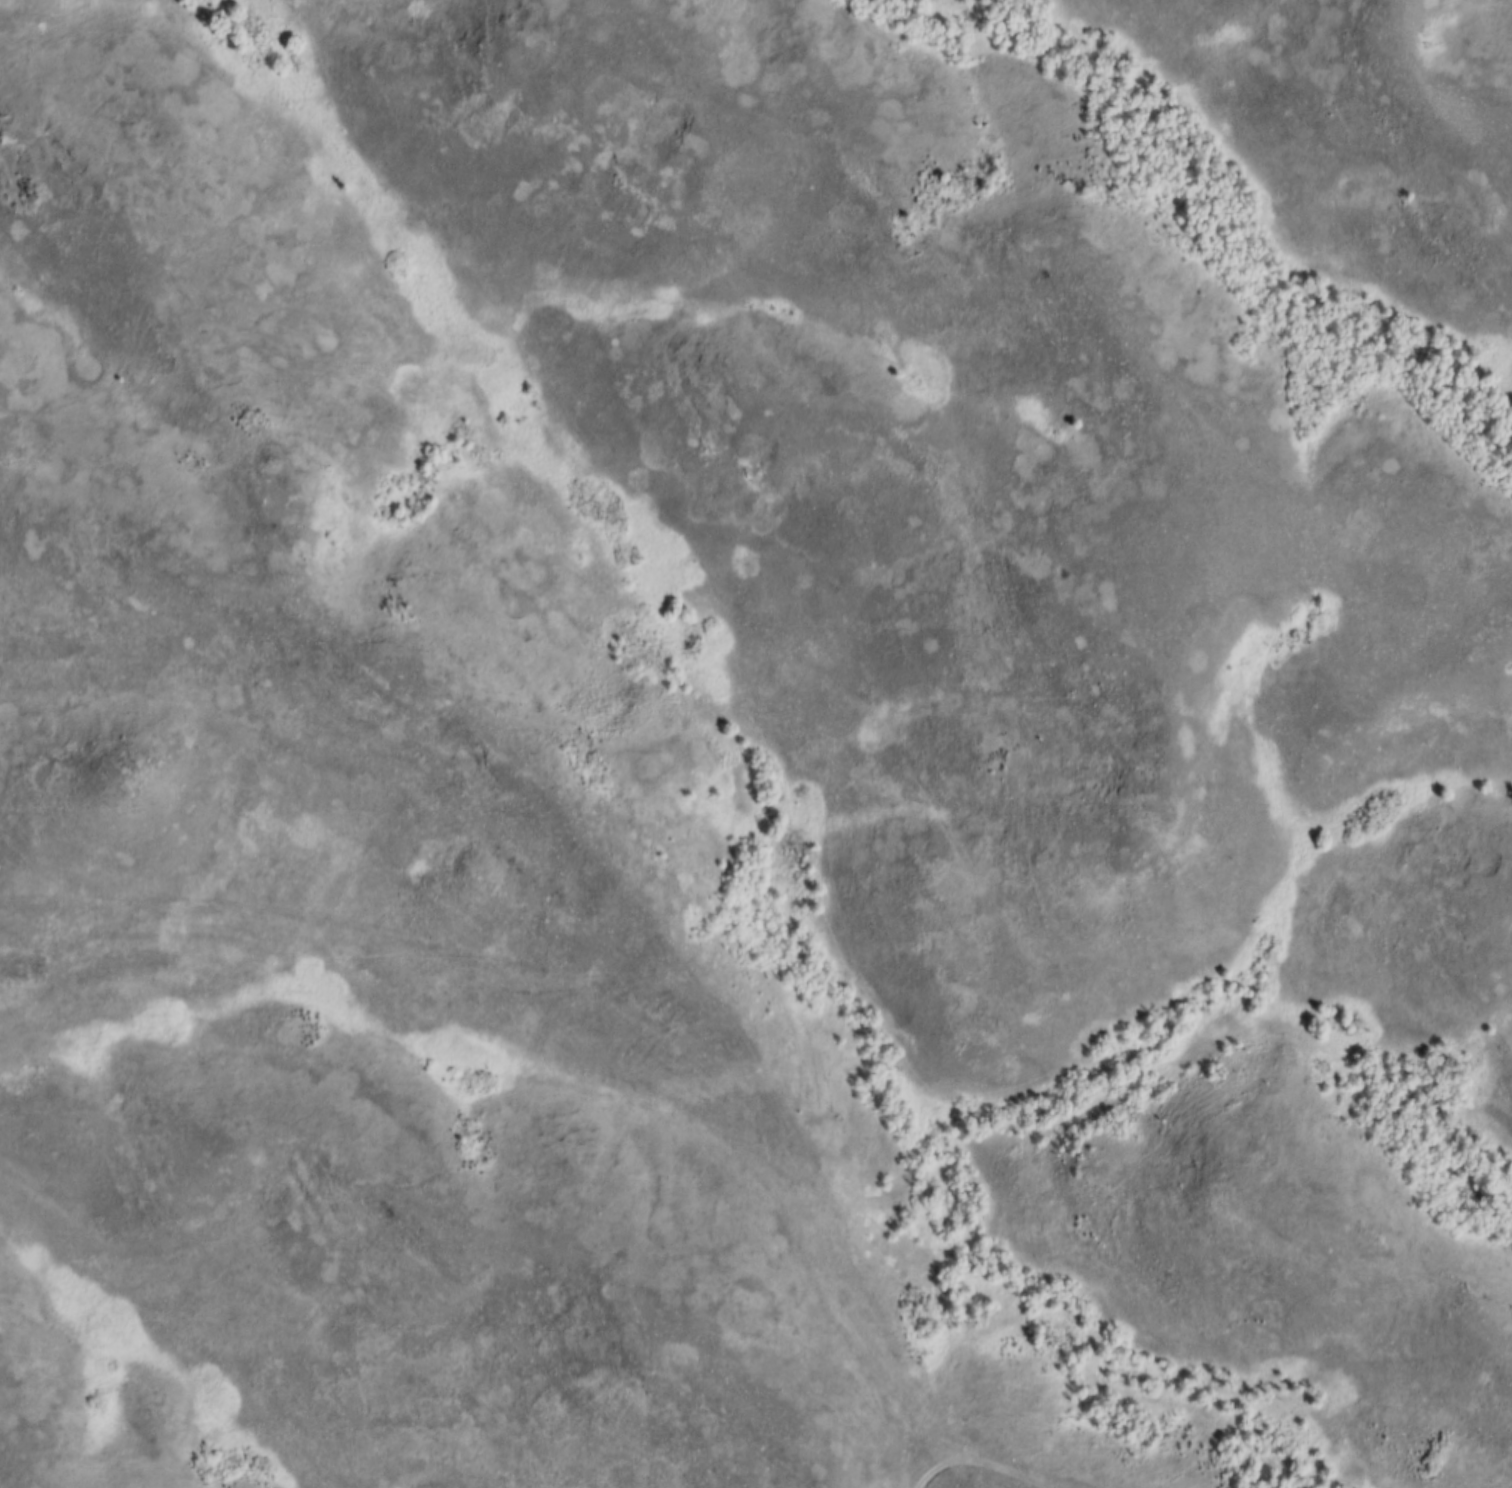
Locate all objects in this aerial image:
road: (996, 1487)

